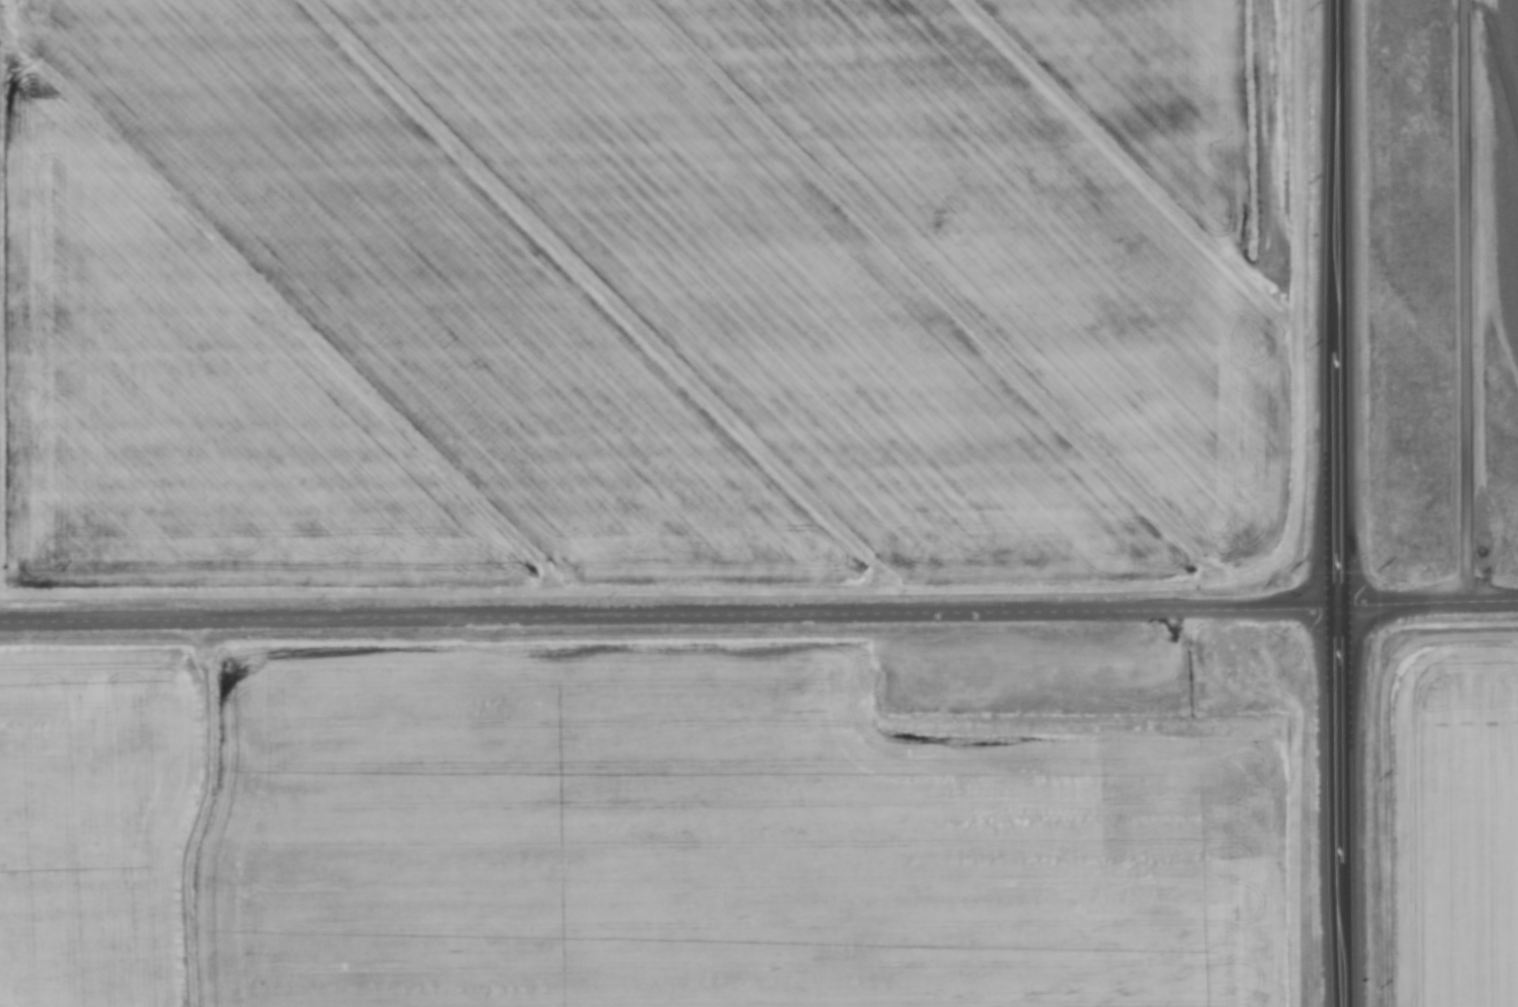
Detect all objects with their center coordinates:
road: (1464, 301)
road: (1343, 503)
road: (1430, 602)
road: (672, 621)

